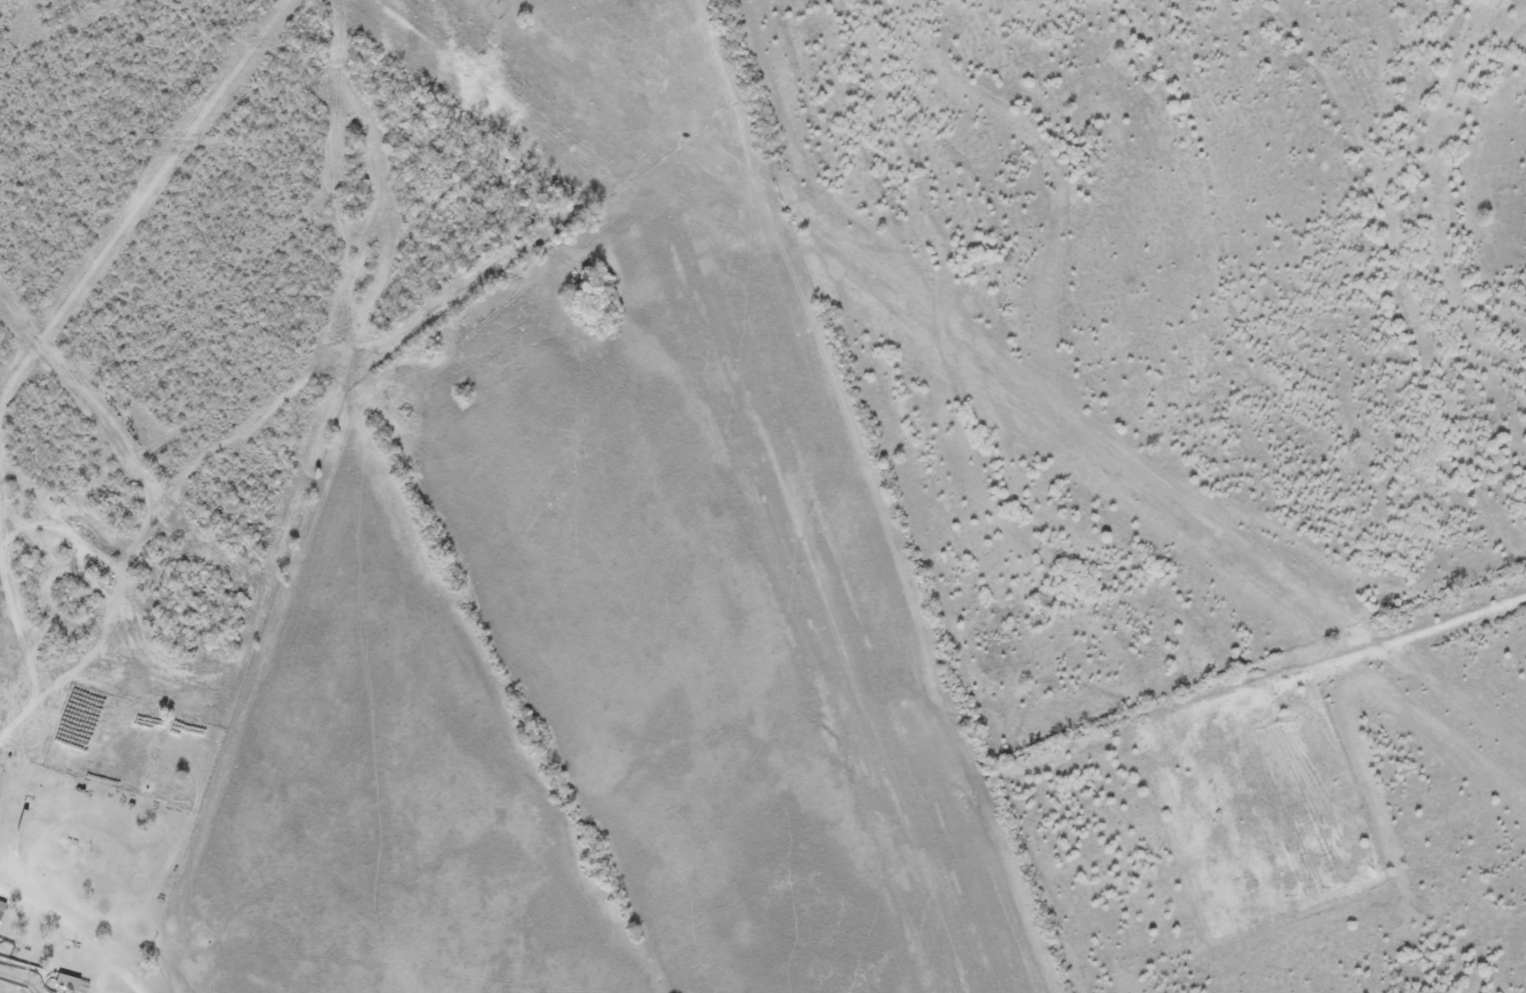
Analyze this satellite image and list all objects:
building: (58, 855)
building: (1, 906)
road: (118, 986)
road: (127, 986)

